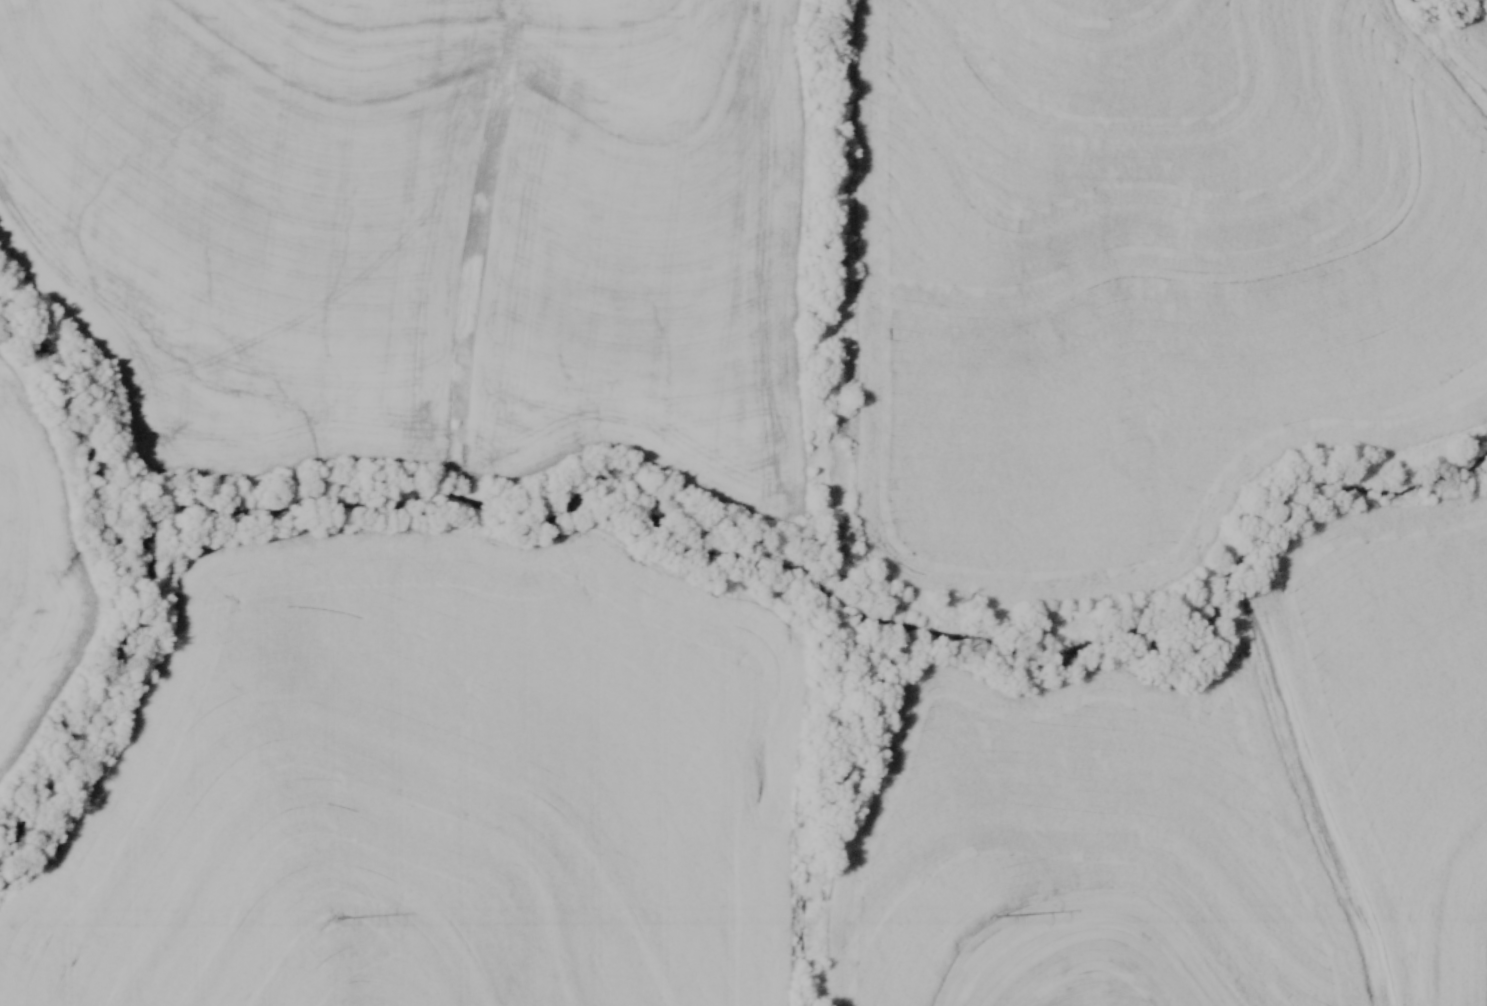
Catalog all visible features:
power tower: (997, 914)
power tower: (336, 917)

